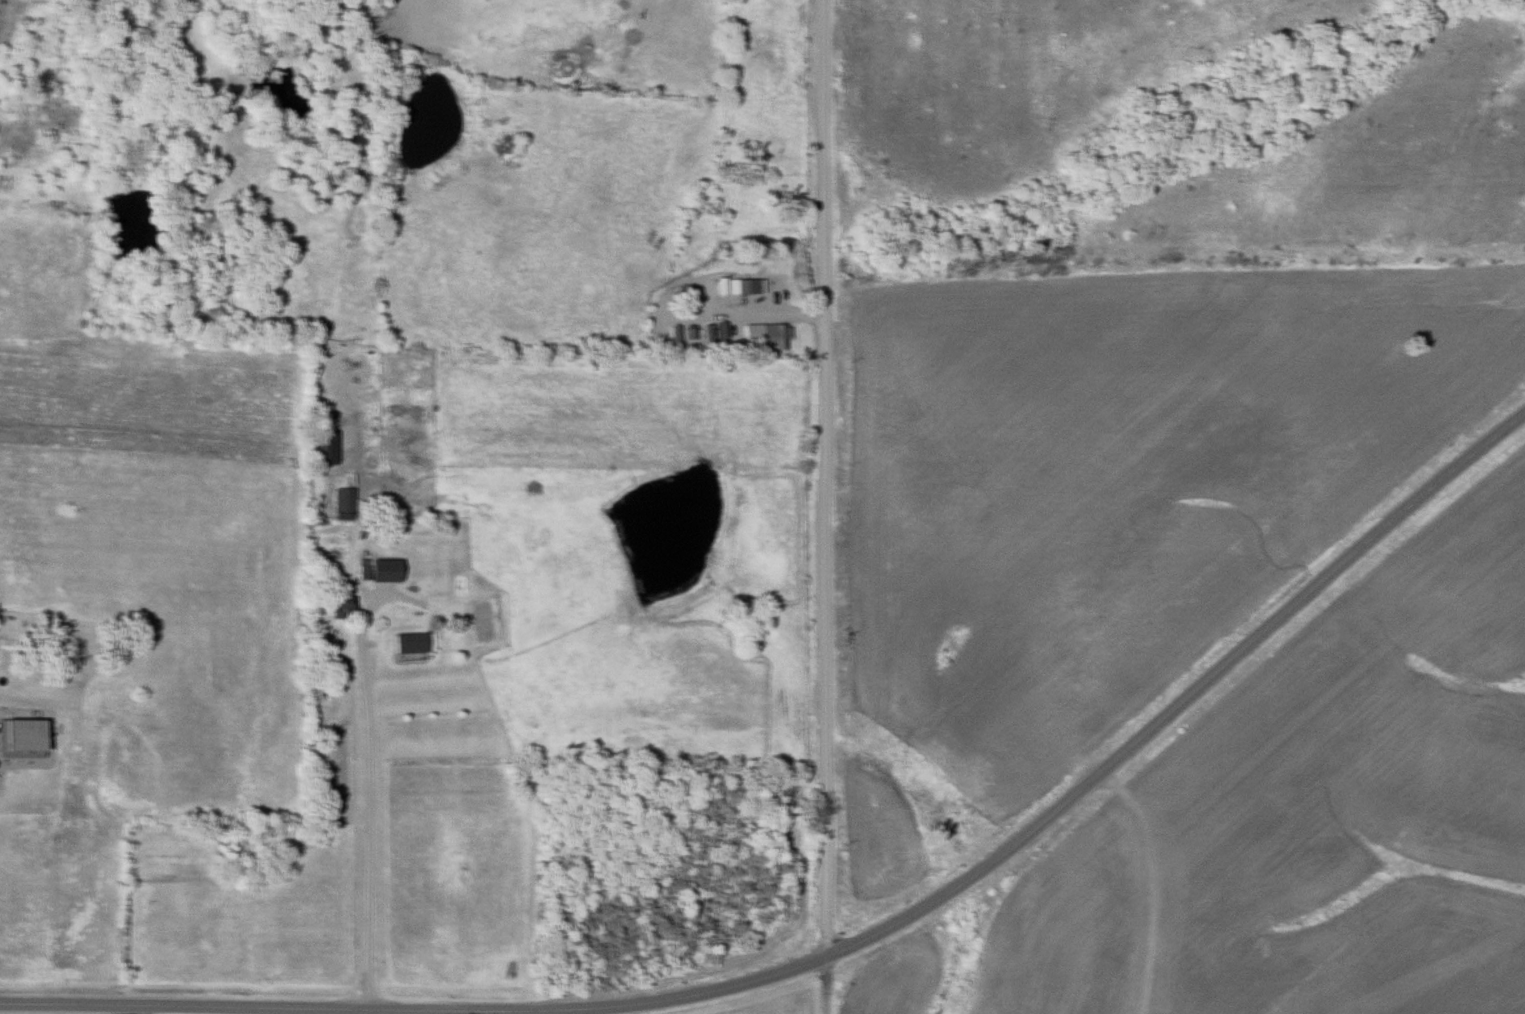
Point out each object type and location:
building: (738, 289)
building: (769, 335)
building: (321, 450)
building: (339, 504)
road: (826, 506)
building: (335, 605)
building: (405, 645)
building: (19, 736)
road: (1079, 791)
road: (369, 805)
road: (241, 1008)
road: (132, 1010)
road: (371, 1013)

